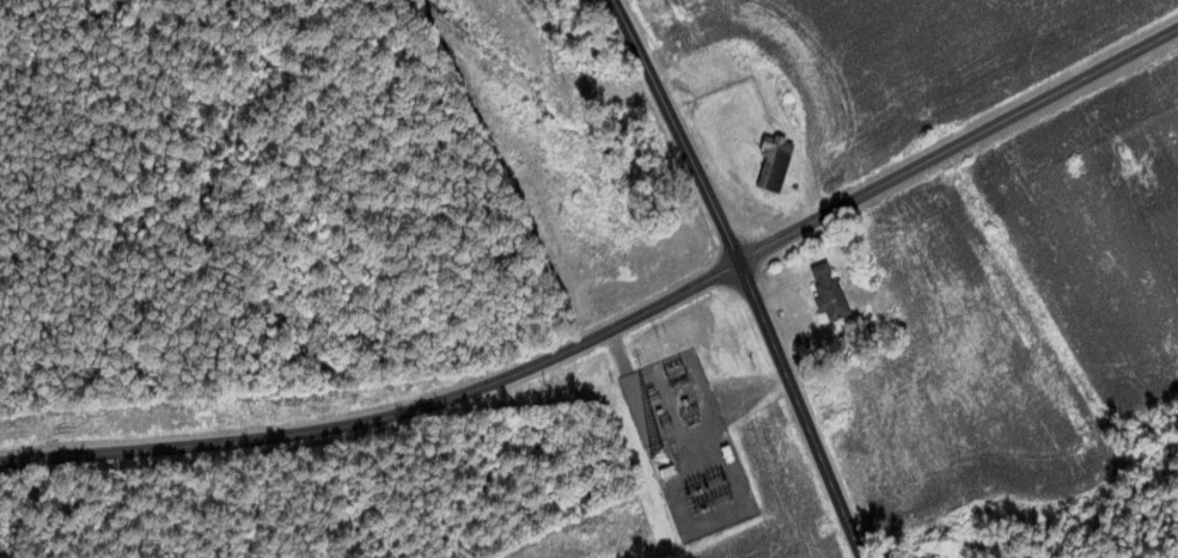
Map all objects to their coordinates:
building: (691, 32)
building: (741, 131)
building: (770, 163)
road: (746, 275)
building: (823, 289)
road: (616, 325)
power substation: (682, 446)

